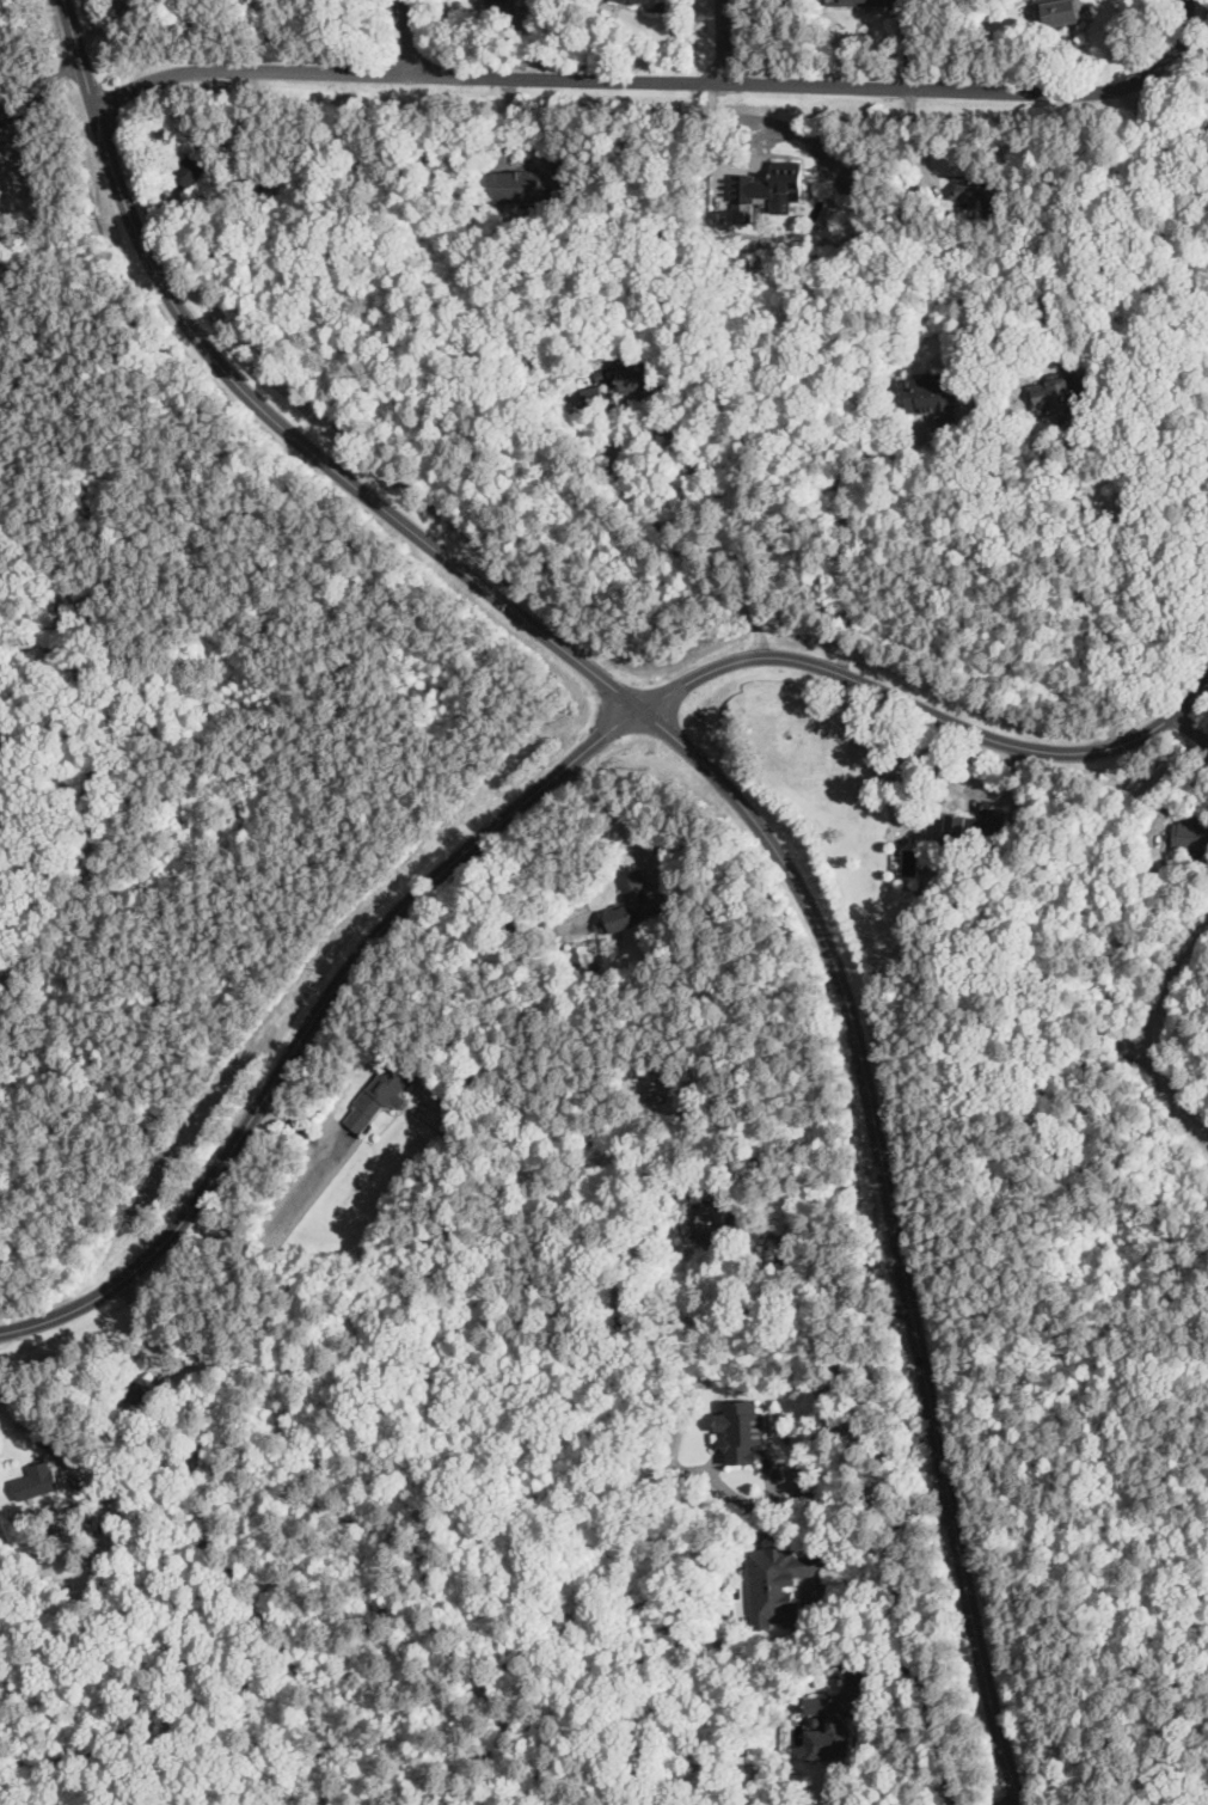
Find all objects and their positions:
building: (651, 4)
building: (1060, 12)
road: (105, 24)
road: (409, 37)
road: (729, 41)
road: (664, 80)
road: (43, 82)
road: (1159, 141)
road: (912, 148)
road: (252, 169)
building: (192, 171)
building: (516, 185)
building: (768, 190)
building: (979, 194)
building: (634, 373)
building: (933, 397)
building: (1059, 397)
road: (626, 488)
road: (1081, 594)
road: (1197, 723)
road: (731, 789)
road: (526, 797)
road: (1173, 803)
road: (614, 809)
building: (980, 827)
building: (1191, 832)
building: (632, 904)
road: (1152, 1041)
building: (657, 1089)
building: (381, 1094)
road: (302, 1130)
road: (307, 1183)
building: (712, 1219)
road: (821, 1261)
park: (1075, 1275)
building: (137, 1388)
road: (24, 1427)
building: (741, 1428)
road: (768, 1434)
road: (762, 1446)
building: (29, 1476)
road: (865, 1497)
road: (747, 1499)
building: (783, 1584)
road: (913, 1654)
building: (832, 1724)
road: (1008, 1799)

